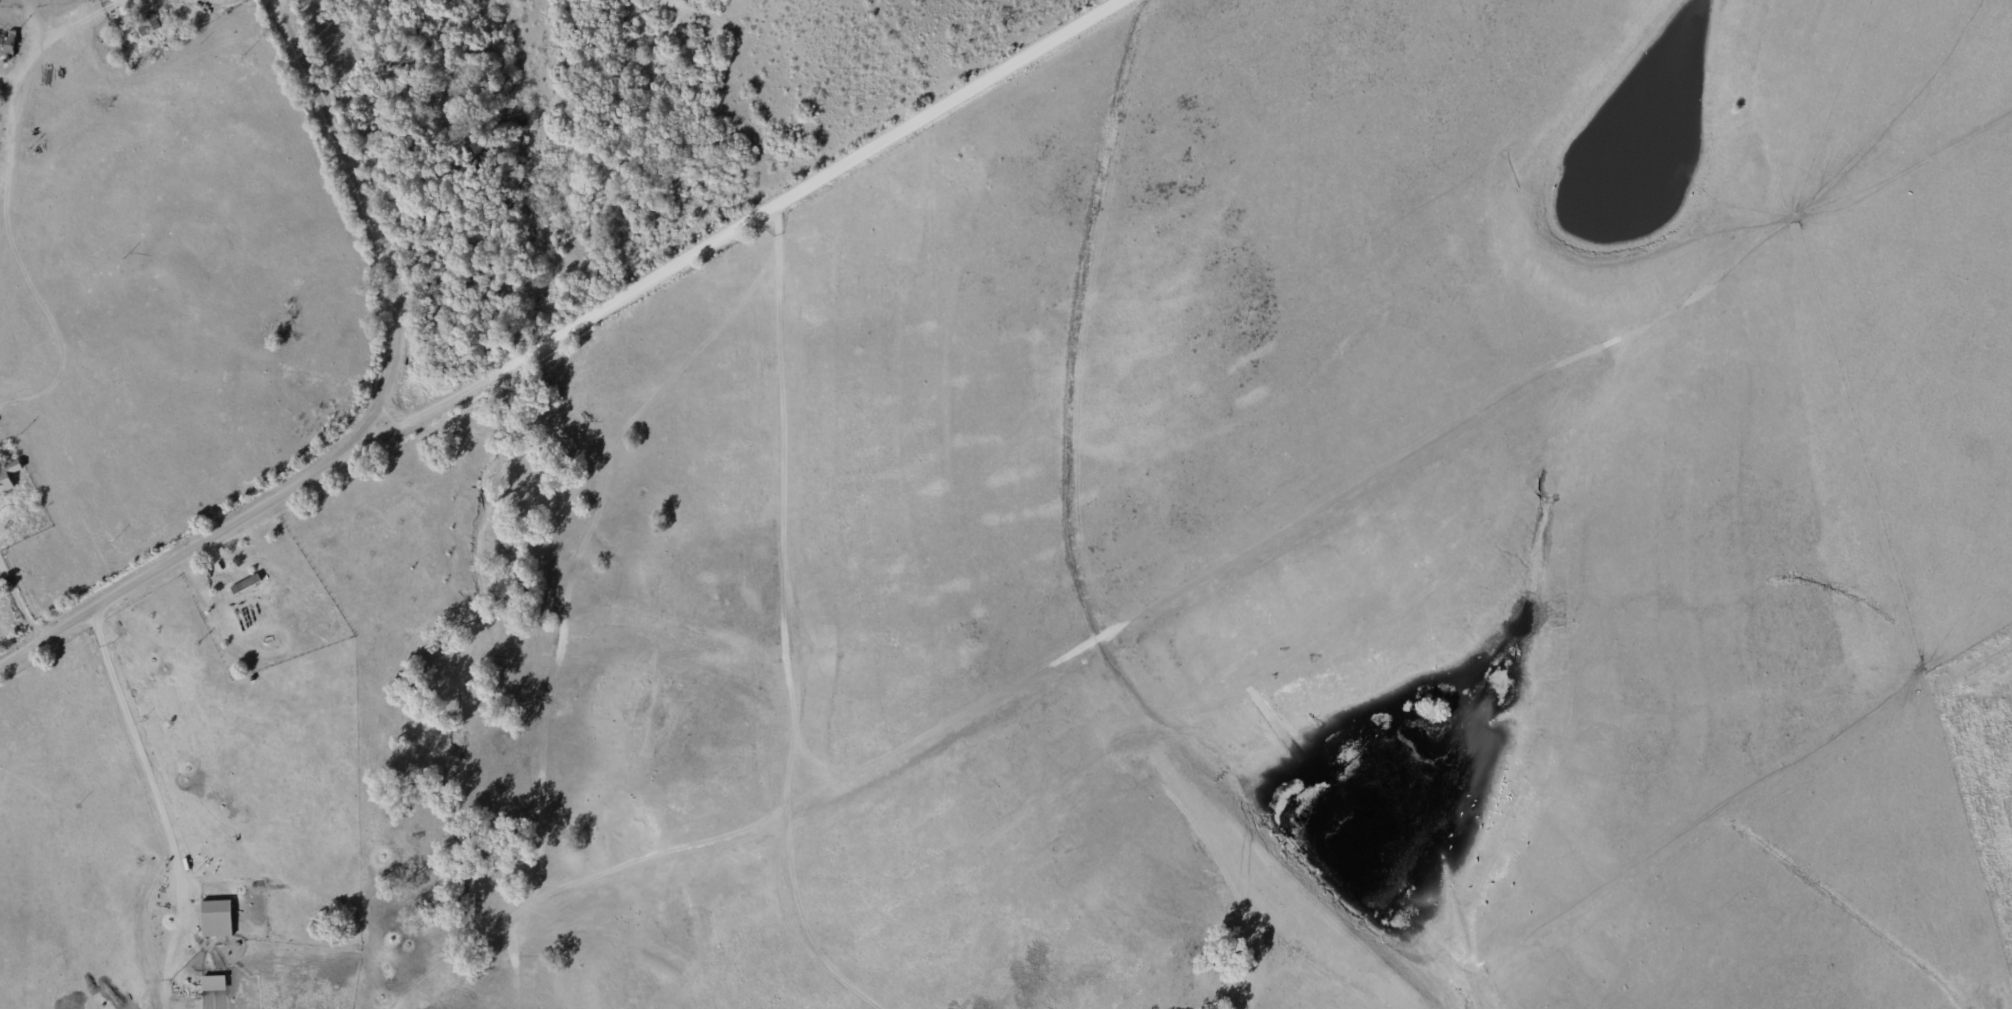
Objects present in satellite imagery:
road: (192, 1)
road: (25, 62)
road: (734, 229)
road: (393, 412)
road: (372, 420)
building: (8, 477)
road: (579, 545)
road: (18, 605)
road: (788, 627)
road: (157, 797)
road: (656, 857)
building: (217, 919)
road: (518, 956)
building: (214, 983)

